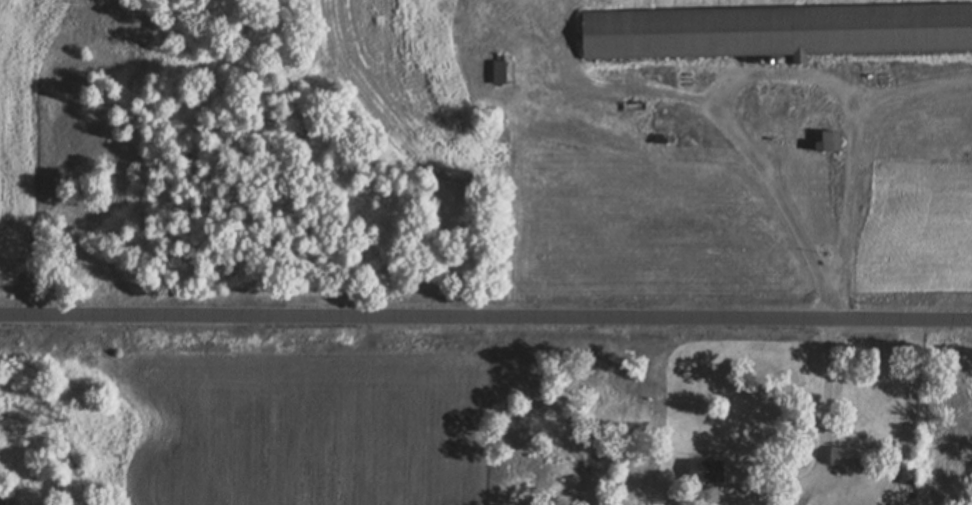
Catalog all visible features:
building: (775, 29)
building: (500, 71)
road: (756, 74)
building: (827, 140)
road: (485, 314)
building: (848, 456)
building: (702, 471)

